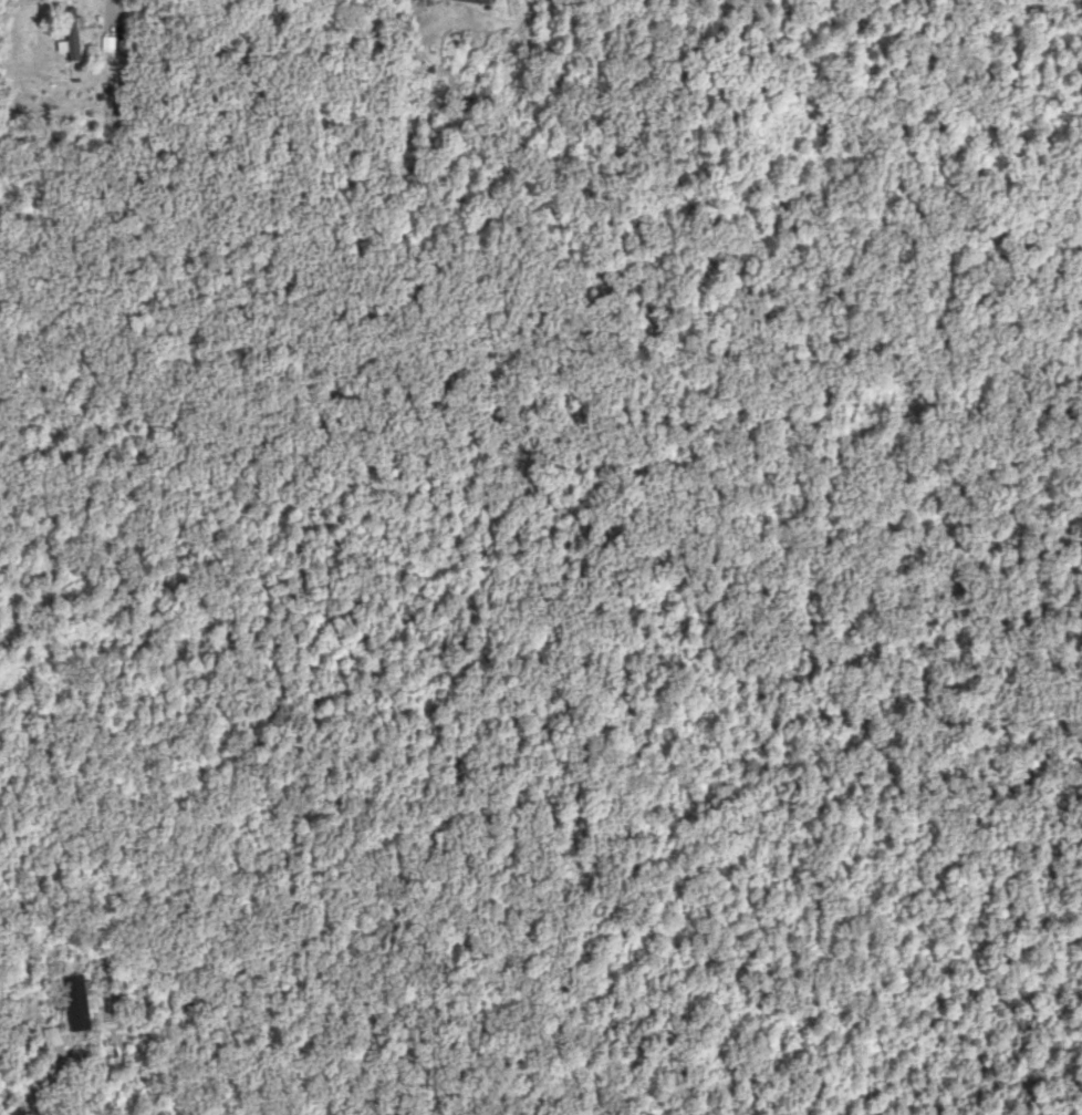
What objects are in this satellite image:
building: (474, 0)
road: (110, 7)
building: (72, 33)
building: (74, 1004)
road: (41, 1087)

